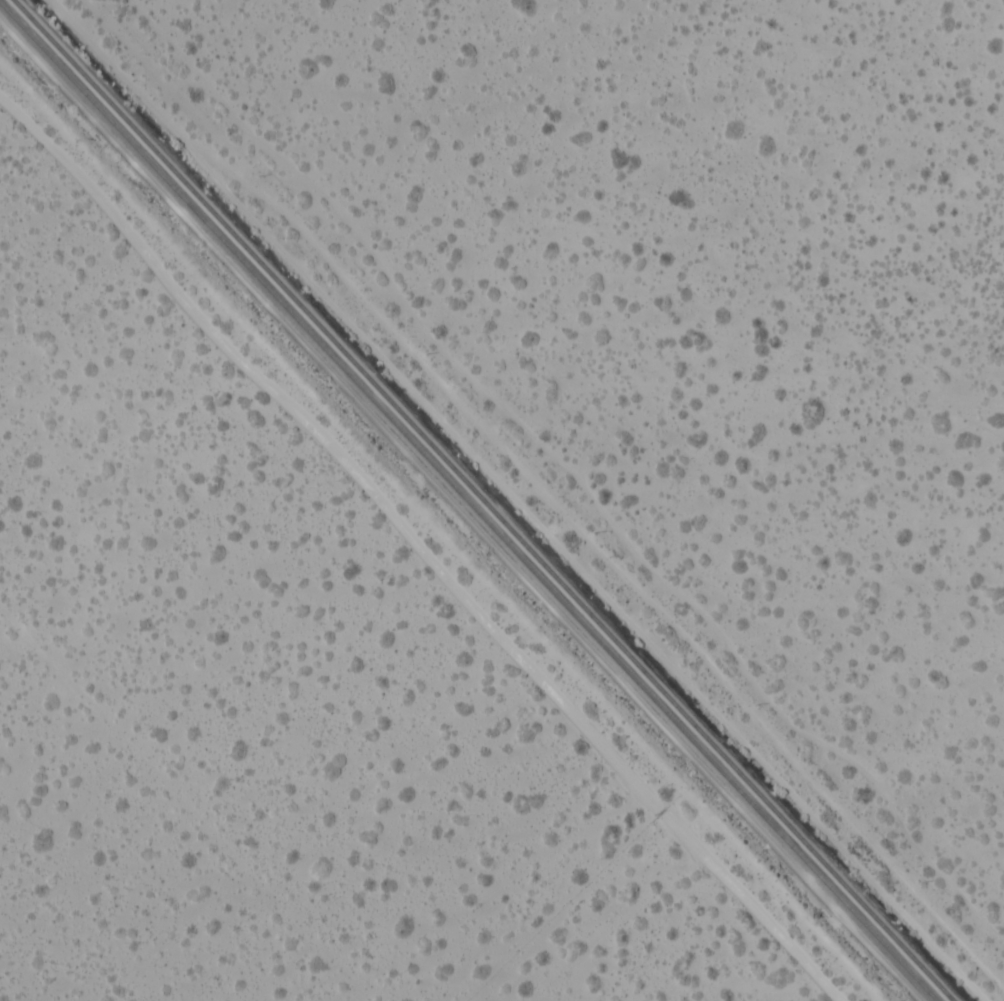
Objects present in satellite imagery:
road: (561, 474)
railway: (480, 500)
road: (504, 501)
railway: (467, 502)
road: (417, 555)

